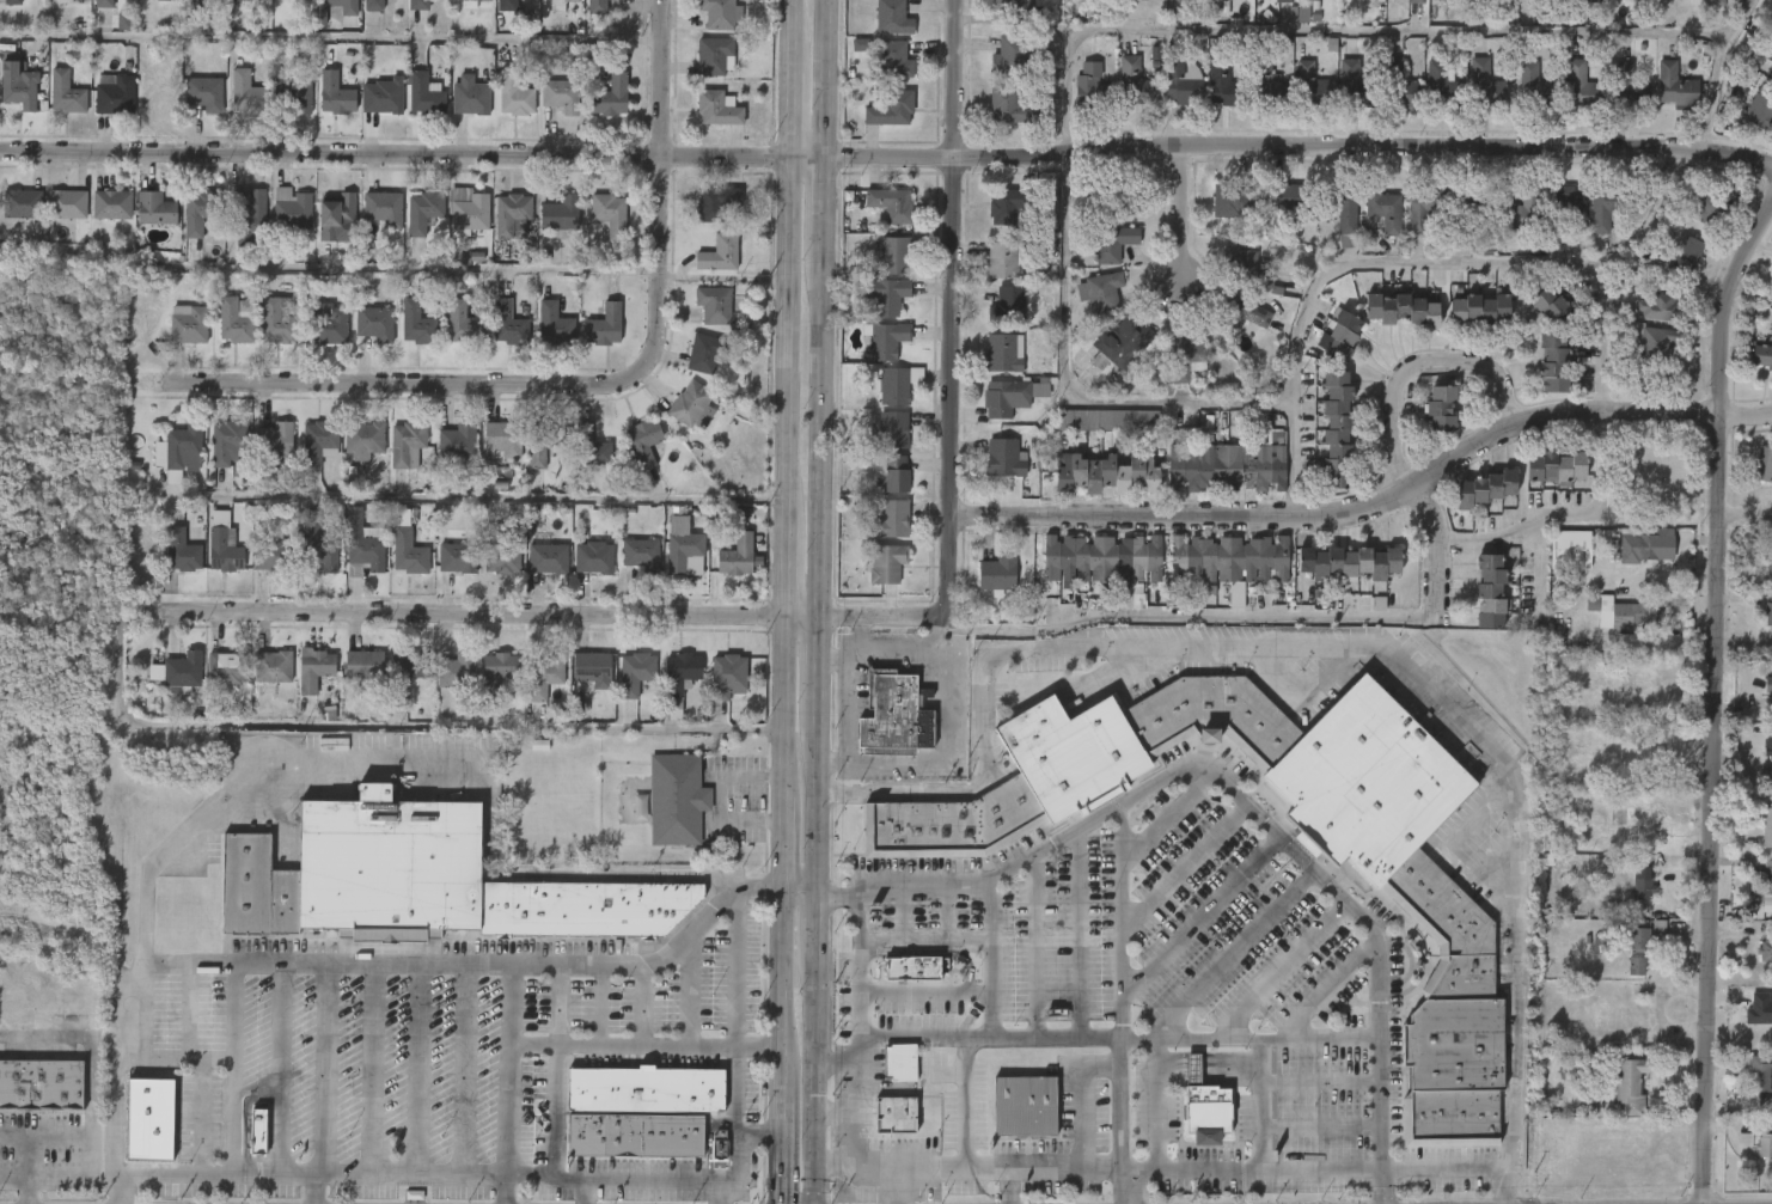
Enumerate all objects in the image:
building: (170, 0)
building: (483, 0)
building: (572, 0)
building: (1129, 0)
building: (1177, 0)
building: (1224, 0)
building: (1285, 0)
building: (1446, 0)
building: (1591, 0)
building: (337, 1)
building: (1412, 1)
building: (1713, 1)
building: (12, 2)
building: (238, 2)
building: (1501, 2)
building: (103, 4)
building: (194, 4)
building: (466, 4)
building: (374, 5)
building: (415, 5)
building: (507, 6)
building: (594, 6)
building: (1022, 11)
building: (717, 13)
building: (894, 18)
building: (124, 23)
road: (1337, 25)
road: (330, 38)
building: (860, 44)
building: (1770, 53)
building: (1155, 54)
building: (711, 56)
building: (1012, 56)
building: (896, 60)
road: (1713, 68)
building: (1770, 71)
road: (661, 78)
building: (1221, 80)
building: (17, 81)
building: (1180, 81)
building: (1265, 81)
building: (1134, 84)
building: (1310, 84)
building: (1395, 85)
building: (1484, 85)
building: (1675, 85)
building: (334, 86)
building: (1354, 86)
building: (1581, 86)
building: (1090, 87)
building: (1441, 87)
building: (1533, 87)
building: (1629, 88)
building: (293, 91)
building: (63, 93)
building: (246, 93)
building: (421, 93)
building: (512, 93)
building: (607, 93)
building: (558, 94)
building: (114, 96)
building: (379, 96)
building: (200, 97)
building: (472, 97)
building: (1012, 106)
building: (715, 109)
building: (1760, 109)
building: (892, 110)
road: (886, 158)
building: (1122, 195)
building: (1284, 197)
building: (1230, 201)
building: (714, 203)
building: (22, 204)
building: (67, 204)
building: (111, 204)
building: (887, 204)
building: (1012, 206)
building: (1423, 206)
building: (1707, 206)
building: (383, 208)
building: (1560, 208)
building: (1606, 208)
building: (154, 209)
building: (291, 209)
building: (1382, 209)
building: (1469, 209)
building: (424, 210)
building: (466, 210)
building: (1520, 210)
building: (1340, 212)
building: (198, 213)
building: (508, 213)
road: (1179, 213)
building: (557, 214)
building: (245, 215)
building: (606, 215)
building: (337, 219)
building: (1111, 243)
building: (716, 253)
building: (891, 253)
building: (1685, 255)
building: (1771, 255)
road: (949, 256)
building: (1004, 259)
road: (1534, 263)
road: (427, 268)
building: (1247, 269)
road: (1754, 291)
building: (1098, 292)
building: (882, 294)
building: (1551, 301)
building: (711, 304)
building: (1012, 306)
building: (1405, 307)
building: (1658, 307)
building: (1483, 308)
building: (1239, 314)
building: (233, 320)
building: (274, 323)
building: (371, 323)
building: (459, 323)
building: (185, 324)
building: (324, 324)
building: (414, 324)
building: (505, 324)
building: (551, 324)
building: (600, 326)
building: (1345, 332)
building: (885, 340)
building: (1655, 342)
building: (1118, 343)
building: (703, 353)
building: (1002, 353)
building: (1760, 354)
building: (1180, 357)
road: (1422, 360)
building: (1557, 361)
road: (520, 383)
road: (1064, 385)
building: (890, 386)
building: (1008, 397)
building: (690, 407)
building: (1443, 407)
building: (1105, 421)
building: (1339, 428)
building: (891, 430)
building: (361, 439)
building: (499, 440)
building: (224, 441)
building: (318, 441)
building: (641, 441)
building: (270, 442)
building: (456, 442)
building: (539, 442)
building: (404, 444)
building: (587, 447)
building: (179, 451)
building: (1003, 458)
building: (1762, 465)
building: (1227, 467)
building: (1554, 467)
building: (1101, 473)
building: (894, 475)
building: (1484, 489)
road: (457, 499)
road: (1369, 506)
road: (1747, 511)
building: (738, 513)
building: (890, 520)
building: (313, 544)
building: (220, 545)
building: (1645, 546)
road: (1434, 549)
building: (362, 550)
building: (1569, 550)
building: (178, 551)
building: (679, 551)
building: (1768, 552)
building: (405, 554)
building: (497, 554)
building: (270, 555)
building: (638, 555)
building: (454, 557)
building: (544, 557)
building: (734, 557)
building: (591, 558)
building: (1100, 558)
building: (1227, 560)
building: (1351, 562)
building: (885, 564)
road: (1540, 564)
building: (995, 575)
building: (1495, 591)
road: (777, 601)
road: (817, 601)
road: (600, 613)
building: (1768, 613)
building: (1634, 616)
road: (857, 631)
road: (867, 644)
building: (1629, 644)
road: (1325, 648)
building: (269, 667)
building: (365, 667)
building: (224, 668)
building: (314, 670)
building: (589, 670)
building: (458, 671)
building: (499, 671)
building: (179, 672)
building: (405, 672)
building: (633, 673)
building: (545, 676)
building: (725, 677)
building: (677, 682)
building: (1768, 684)
road: (1718, 703)
road: (847, 713)
building: (1212, 716)
building: (890, 717)
road: (381, 727)
building: (1770, 734)
building: (1768, 750)
road: (947, 752)
building: (1071, 752)
road: (1200, 764)
building: (1367, 781)
building: (674, 797)
road: (1169, 815)
building: (952, 824)
building: (1767, 825)
road: (1185, 866)
building: (389, 867)
building: (1767, 878)
building: (1642, 882)
road: (897, 887)
building: (257, 888)
road: (146, 890)
road: (795, 892)
building: (585, 909)
road: (948, 912)
road: (902, 913)
road: (857, 917)
road: (1202, 917)
road: (1120, 921)
building: (1657, 930)
road: (1077, 934)
road: (924, 940)
building: (1638, 940)
building: (1596, 945)
road: (1034, 947)
building: (1765, 952)
road: (1232, 954)
road: (326, 962)
road: (549, 964)
building: (1636, 966)
building: (912, 968)
road: (1281, 968)
road: (737, 970)
road: (689, 986)
road: (1326, 989)
road: (924, 995)
road: (558, 1004)
road: (598, 1004)
road: (641, 1004)
road: (188, 1010)
building: (1767, 1010)
building: (1453, 1015)
road: (929, 1037)
road: (1110, 1039)
road: (641, 1046)
road: (173, 1057)
road: (836, 1058)
building: (902, 1063)
road: (231, 1068)
building: (1192, 1068)
road: (280, 1069)
road: (371, 1069)
road: (1379, 1069)
road: (416, 1070)
road: (463, 1070)
building: (1765, 1074)
road: (1319, 1081)
building: (41, 1084)
building: (647, 1090)
road: (857, 1090)
road: (90, 1092)
building: (1619, 1093)
road: (1155, 1104)
road: (1259, 1105)
building: (1024, 1106)
road: (735, 1108)
road: (551, 1112)
road: (835, 1112)
building: (1206, 1112)
building: (897, 1114)
road: (198, 1117)
building: (149, 1119)
road: (1120, 1122)
road: (964, 1125)
road: (1319, 1126)
building: (258, 1131)
road: (60, 1135)
building: (635, 1137)
road: (30, 1142)
building: (1766, 1142)
building: (719, 1145)
road: (835, 1157)
road: (914, 1157)
road: (1118, 1171)
road: (1398, 1171)
road: (737, 1173)
road: (230, 1174)
road: (316, 1177)
road: (611, 1179)
road: (14, 1181)
road: (30, 1192)

